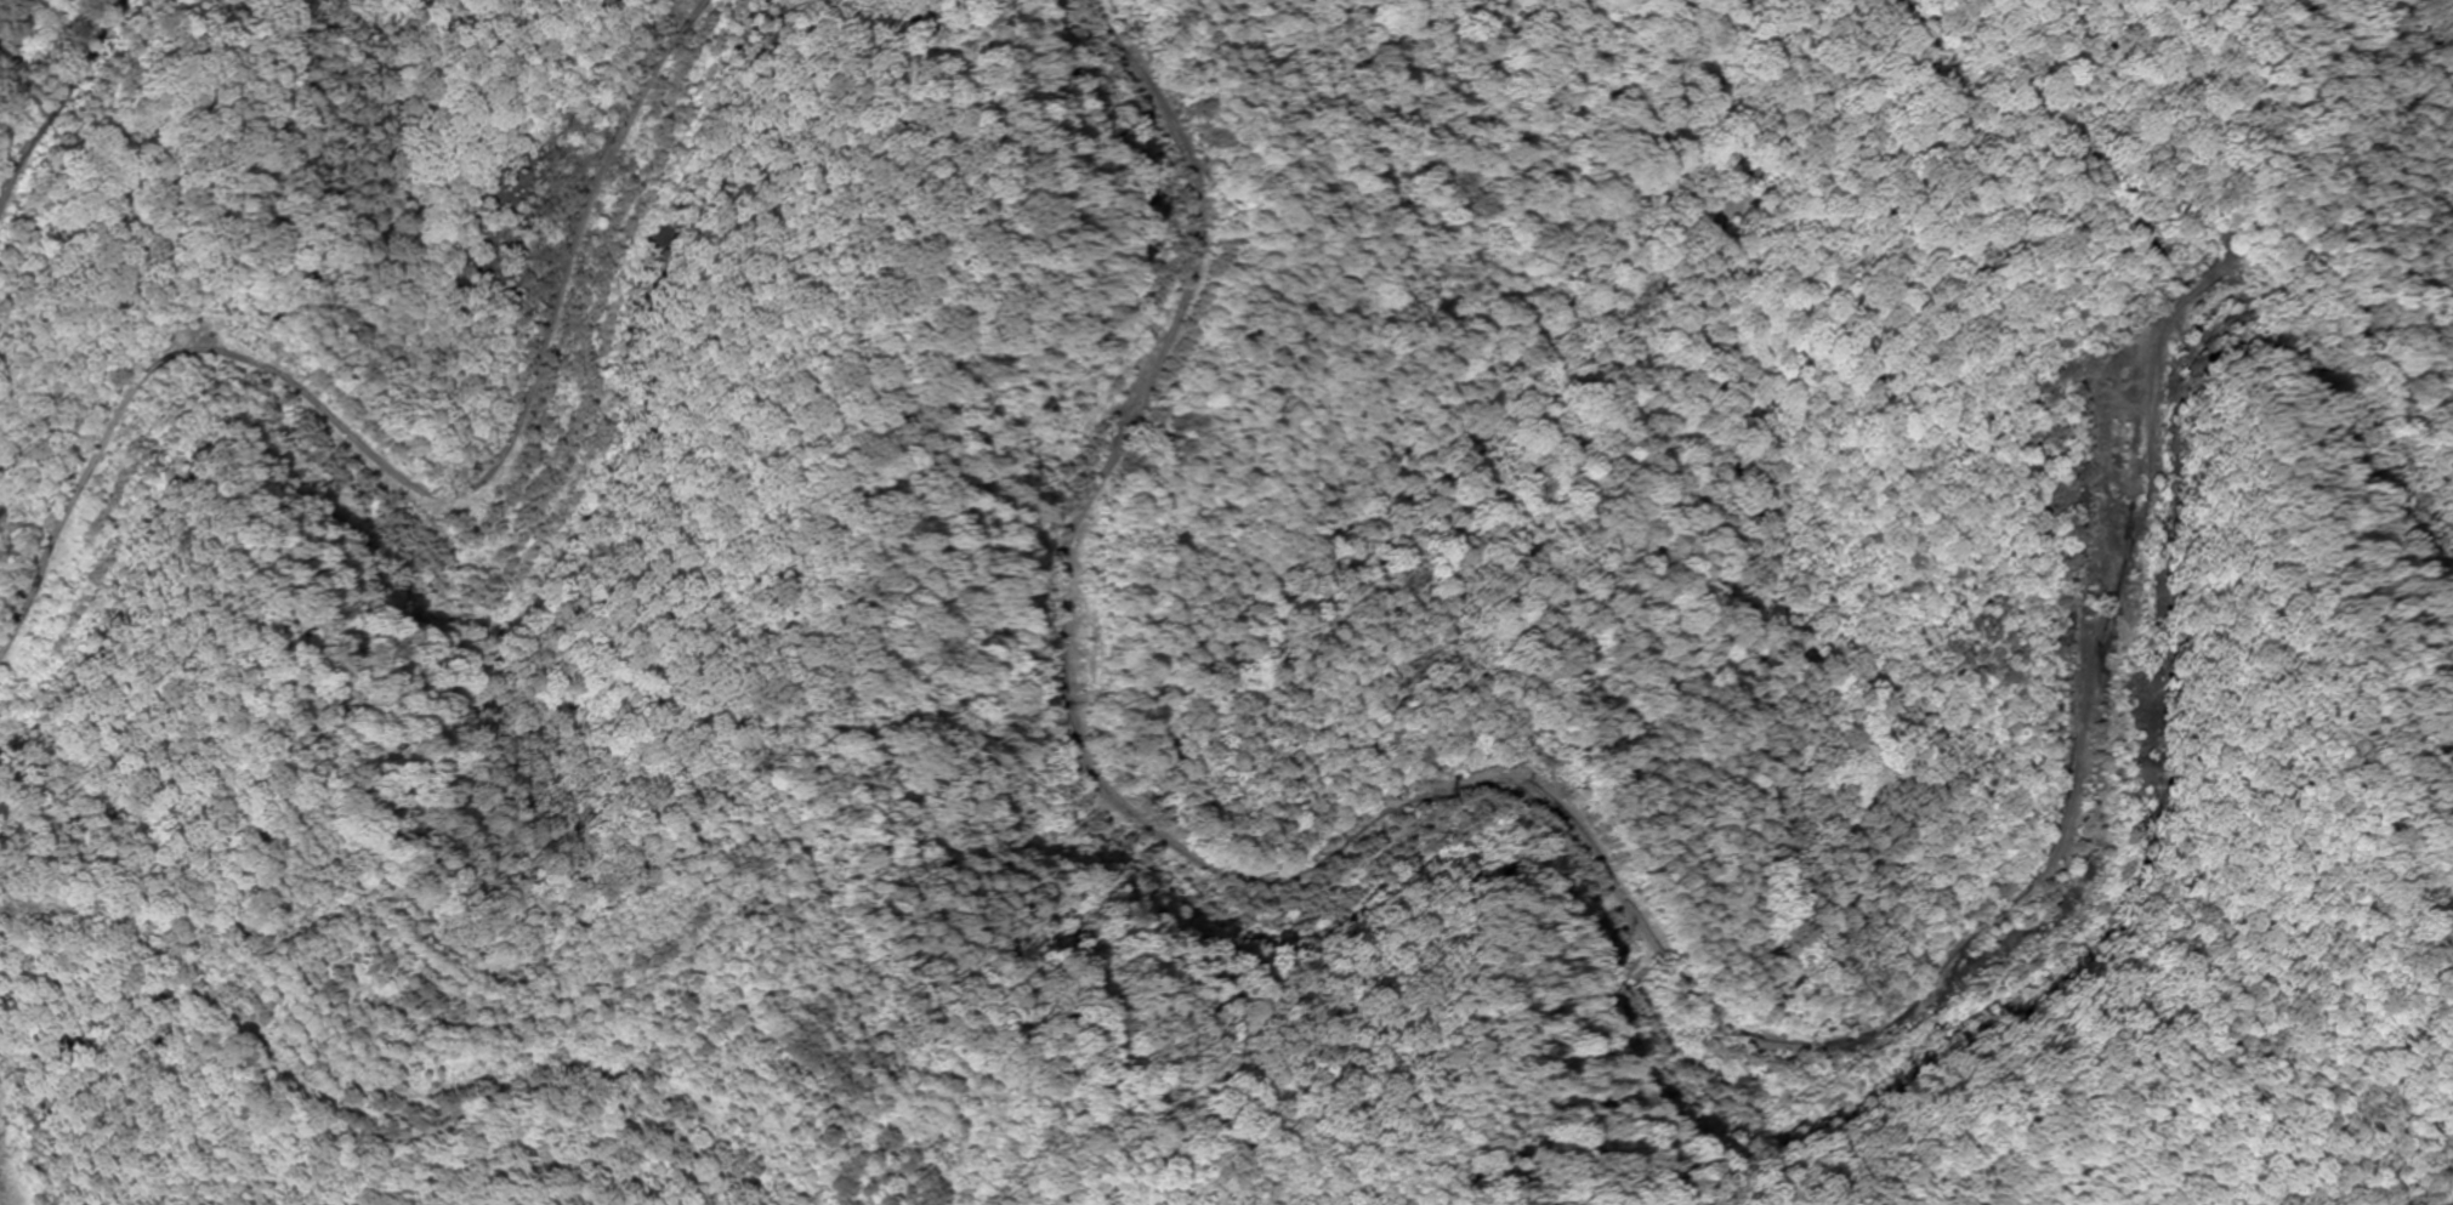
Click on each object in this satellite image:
road: (57, 93)
road: (388, 443)
road: (1670, 973)

